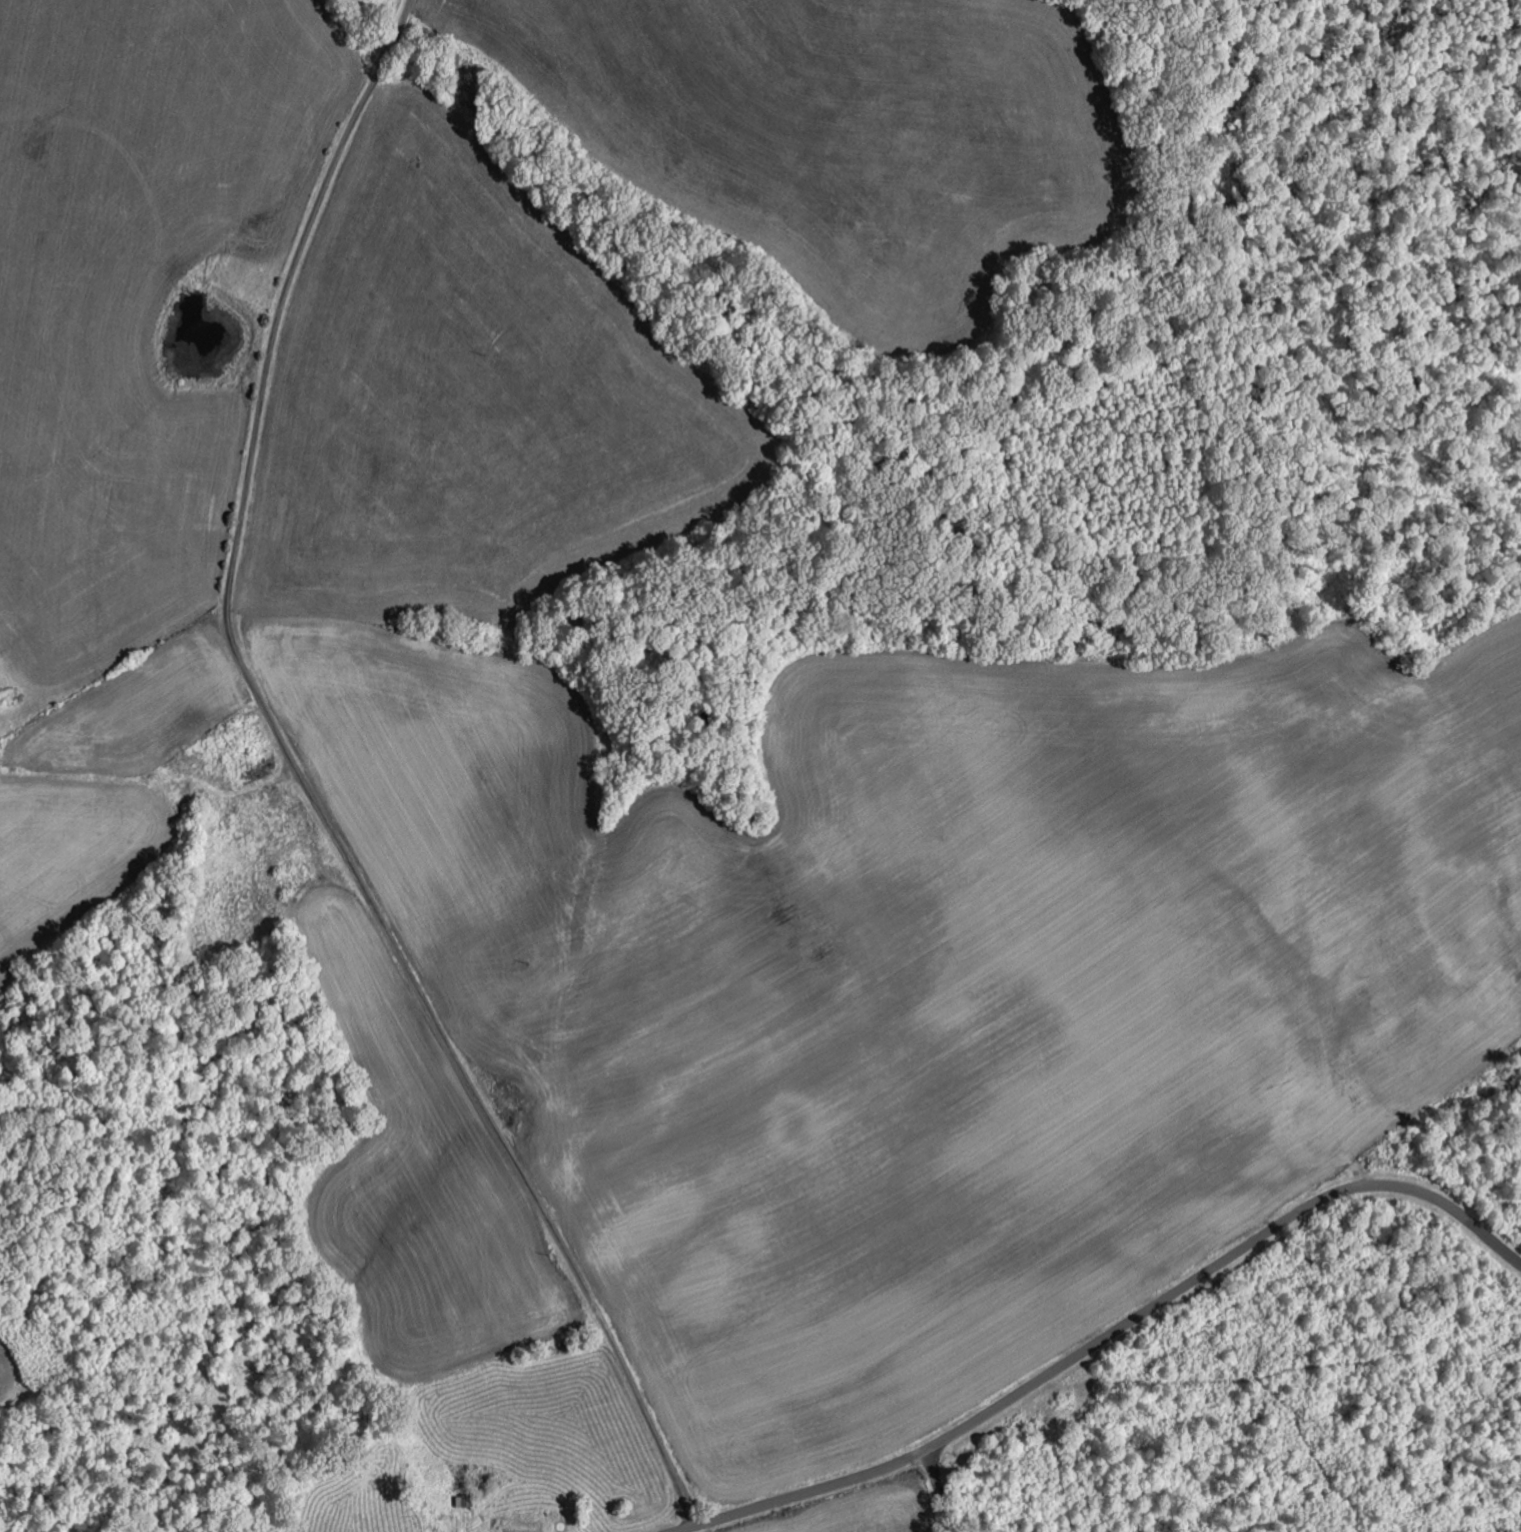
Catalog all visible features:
road: (304, 785)
road: (1104, 1335)
road: (939, 1488)

